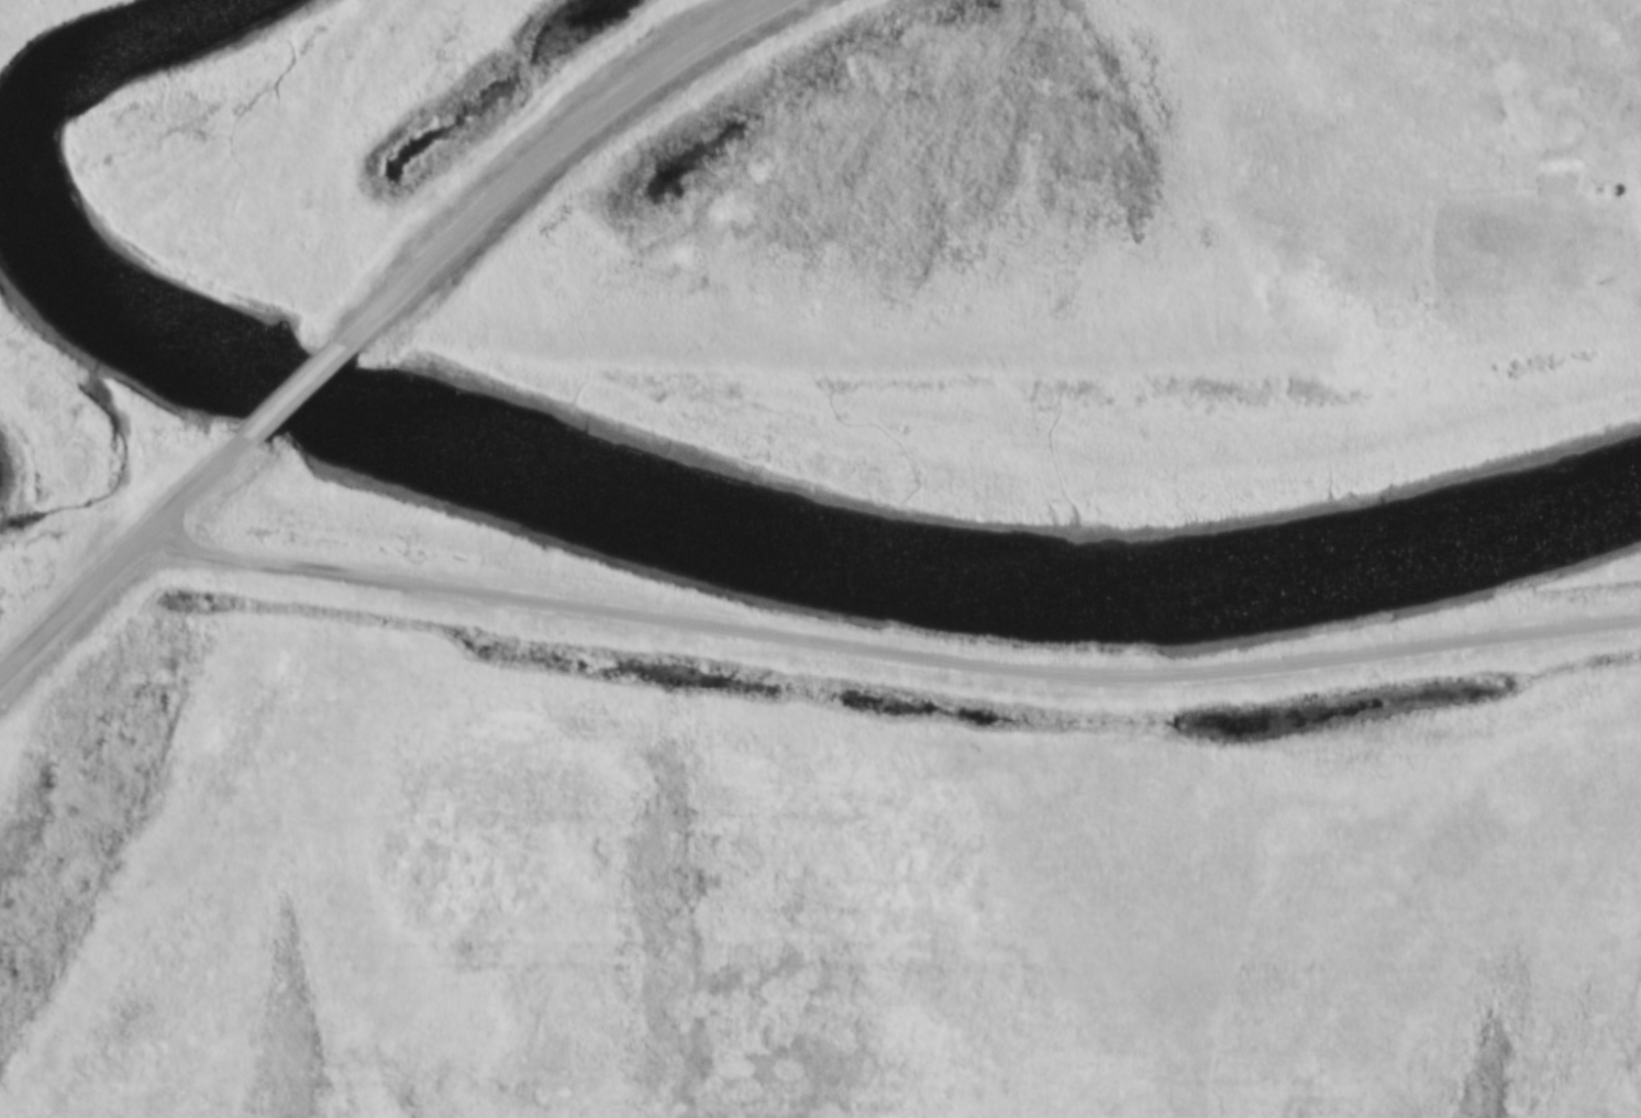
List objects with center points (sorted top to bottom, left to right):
road: (534, 158)
road: (289, 395)
river: (633, 516)
road: (120, 553)
road: (894, 647)

